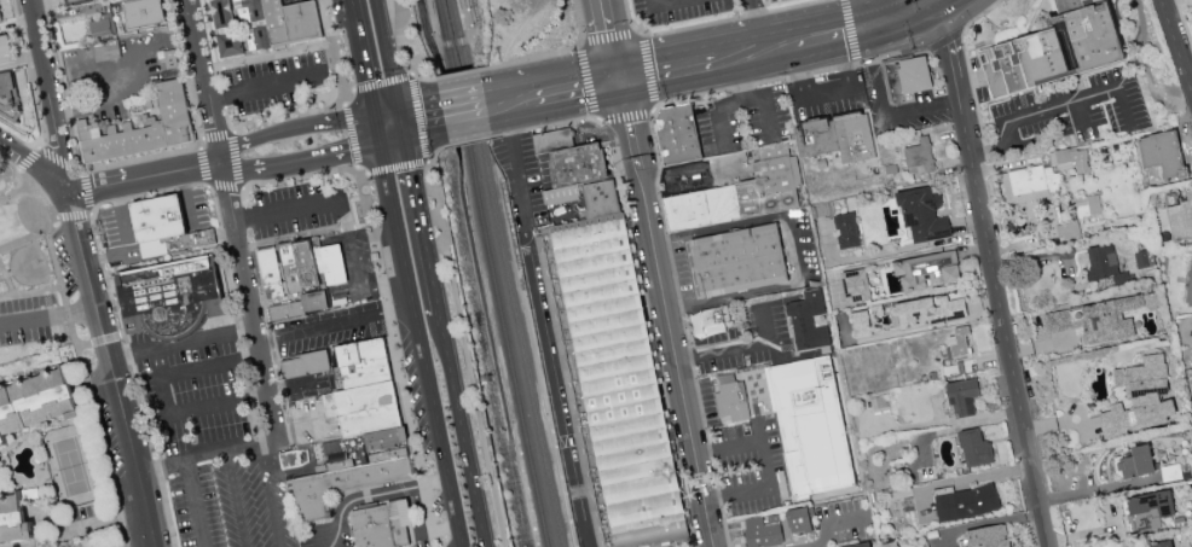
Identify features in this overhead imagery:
road: (664, 1)
building: (77, 2)
traffic signals: (938, 2)
road: (378, 5)
building: (247, 11)
building: (144, 13)
building: (221, 13)
road: (463, 13)
road: (879, 14)
road: (912, 14)
road: (430, 17)
road: (735, 18)
road: (1185, 19)
building: (0, 22)
building: (285, 24)
road: (759, 24)
building: (100, 28)
railway: (465, 28)
traffic signals: (883, 29)
road: (851, 31)
road: (353, 33)
railway: (434, 35)
road: (841, 35)
road: (614, 39)
road: (945, 40)
road: (453, 41)
building: (230, 43)
road: (1176, 45)
building: (5, 47)
road: (774, 48)
building: (109, 50)
building: (1061, 51)
road: (552, 54)
road: (966, 57)
road: (728, 58)
road: (390, 66)
road: (666, 70)
road: (458, 76)
road: (789, 77)
building: (915, 77)
road: (424, 78)
traffic signals: (624, 78)
road: (207, 81)
road: (284, 81)
road: (604, 81)
road: (383, 82)
road: (560, 91)
building: (7, 93)
road: (48, 93)
road: (822, 94)
road: (366, 97)
road: (756, 97)
road: (522, 99)
road: (498, 104)
road: (341, 105)
road: (1053, 106)
road: (105, 107)
road: (655, 109)
road: (464, 111)
road: (880, 112)
road: (1080, 114)
road: (719, 116)
road: (423, 120)
traffic signals: (404, 124)
road: (544, 126)
road: (388, 127)
building: (141, 128)
road: (294, 128)
traffic signals: (374, 130)
road: (351, 135)
building: (684, 135)
building: (845, 138)
road: (469, 140)
road: (1028, 140)
building: (557, 141)
road: (12, 150)
road: (435, 150)
road: (174, 152)
road: (337, 152)
building: (1163, 153)
building: (925, 156)
building: (581, 165)
road: (398, 167)
road: (522, 167)
road: (258, 169)
road: (46, 173)
road: (693, 173)
building: (1043, 174)
road: (144, 176)
road: (239, 180)
building: (742, 193)
road: (186, 199)
building: (607, 200)
building: (1087, 205)
road: (91, 209)
road: (283, 209)
road: (92, 214)
building: (924, 214)
building: (1181, 217)
road: (22, 219)
road: (422, 219)
building: (163, 221)
building: (1059, 225)
building: (847, 231)
road: (123, 237)
park: (25, 245)
road: (798, 250)
building: (1144, 258)
building: (741, 261)
building: (312, 266)
building: (1105, 266)
road: (452, 270)
building: (927, 270)
building: (270, 272)
railway: (492, 273)
railway: (505, 273)
road: (355, 274)
road: (993, 274)
road: (381, 284)
building: (856, 285)
building: (1190, 285)
road: (384, 295)
building: (177, 301)
road: (253, 303)
building: (303, 308)
building: (930, 310)
road: (669, 313)
parking lot: (35, 315)
road: (47, 315)
building: (718, 319)
building: (1099, 319)
building: (809, 321)
building: (1191, 322)
building: (861, 324)
road: (335, 327)
road: (415, 338)
road: (100, 339)
building: (961, 342)
road: (737, 348)
building: (311, 366)
road: (109, 367)
road: (199, 368)
road: (87, 380)
building: (621, 383)
road: (562, 390)
building: (964, 396)
building: (1140, 397)
building: (35, 402)
building: (735, 402)
building: (879, 403)
road: (168, 412)
road: (300, 426)
building: (812, 426)
road: (464, 430)
building: (365, 432)
building: (976, 448)
road: (208, 453)
parking lot: (220, 453)
building: (335, 454)
building: (290, 459)
building: (1136, 462)
road: (765, 464)
park: (73, 466)
road: (271, 495)
road: (372, 497)
road: (236, 499)
road: (195, 502)
building: (967, 502)
building: (1148, 510)
building: (13, 519)
building: (799, 520)
road: (99, 523)
road: (837, 524)
building: (387, 525)
road: (434, 530)
building: (764, 530)
building: (988, 536)
road: (33, 542)
road: (143, 545)
building: (860, 545)
building: (1161, 545)

